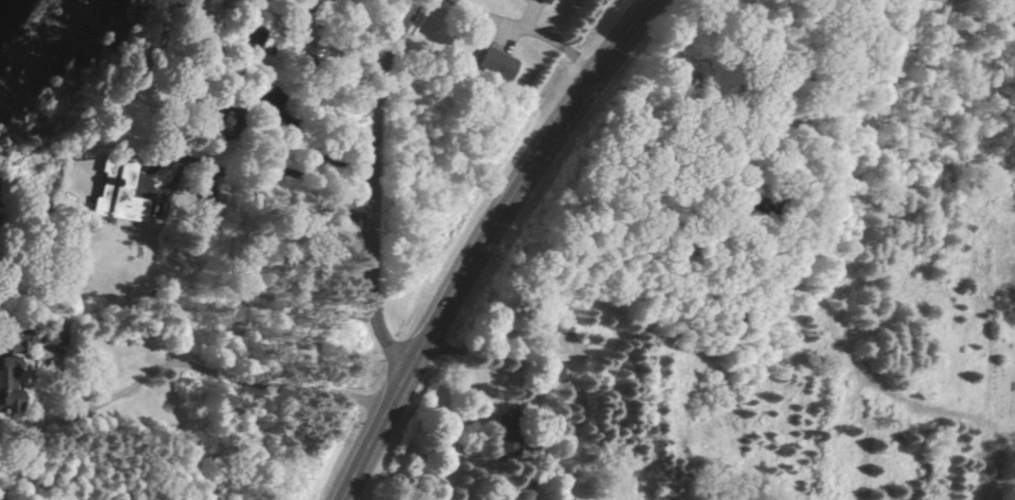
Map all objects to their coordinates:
building: (527, 0)
building: (544, 1)
road: (489, 21)
building: (495, 64)
road: (270, 156)
road: (381, 188)
building: (119, 204)
road: (490, 241)
building: (554, 372)
road: (264, 392)
road: (18, 403)

